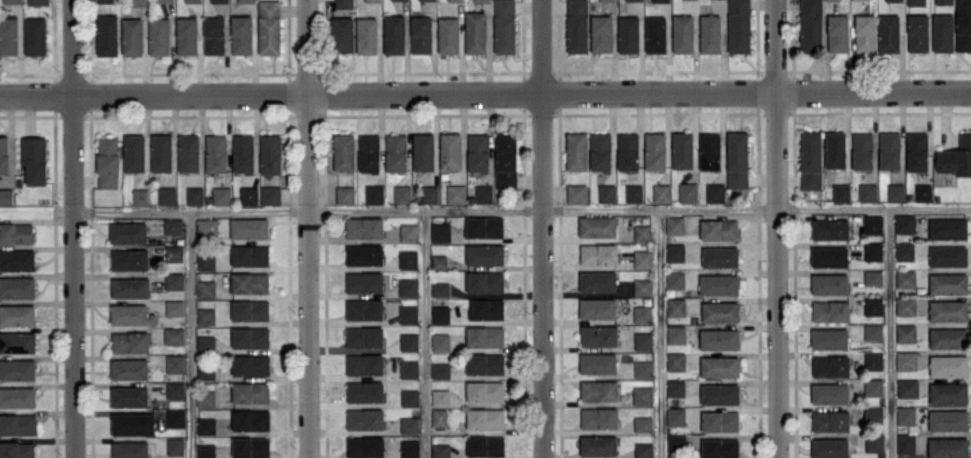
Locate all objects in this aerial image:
building: (105, 0)
building: (246, 0)
building: (373, 0)
building: (431, 0)
building: (455, 0)
building: (482, 0)
building: (607, 0)
building: (630, 0)
building: (661, 0)
building: (893, 0)
building: (12, 1)
building: (164, 1)
building: (192, 1)
building: (219, 1)
building: (943, 1)
building: (37, 2)
building: (138, 2)
building: (916, 2)
building: (344, 3)
building: (739, 25)
building: (811, 25)
building: (963, 25)
building: (504, 26)
building: (577, 26)
building: (269, 27)
building: (475, 32)
building: (683, 32)
building: (865, 32)
building: (888, 32)
building: (917, 32)
building: (943, 32)
building: (601, 33)
building: (710, 33)
building: (838, 33)
building: (107, 34)
building: (241, 34)
building: (342, 34)
building: (394, 34)
building: (421, 34)
building: (628, 34)
building: (656, 34)
building: (35, 35)
building: (187, 35)
building: (214, 35)
building: (367, 35)
building: (448, 35)
building: (8, 36)
building: (132, 36)
building: (159, 36)
road: (485, 96)
building: (682, 149)
building: (835, 149)
building: (450, 150)
building: (577, 150)
building: (710, 150)
building: (862, 150)
building: (889, 150)
building: (344, 151)
building: (423, 151)
building: (478, 151)
building: (600, 151)
building: (628, 151)
building: (655, 151)
building: (917, 151)
building: (134, 152)
building: (161, 152)
building: (188, 152)
building: (243, 152)
building: (369, 152)
building: (396, 152)
building: (4, 153)
building: (216, 153)
building: (270, 154)
building: (956, 157)
building: (34, 159)
building: (737, 159)
building: (506, 160)
building: (811, 160)
building: (107, 162)
building: (923, 191)
building: (576, 192)
building: (607, 192)
building: (661, 192)
building: (688, 192)
building: (715, 192)
building: (841, 192)
building: (867, 192)
building: (895, 192)
building: (374, 193)
building: (456, 193)
building: (483, 193)
building: (634, 193)
building: (270, 194)
building: (345, 194)
building: (402, 194)
building: (429, 194)
building: (167, 195)
building: (194, 195)
building: (221, 195)
building: (248, 195)
building: (6, 196)
building: (140, 196)
road: (521, 211)
building: (873, 223)
building: (905, 223)
building: (675, 224)
building: (173, 225)
building: (207, 226)
building: (597, 226)
building: (249, 227)
building: (364, 227)
building: (484, 227)
road: (542, 228)
road: (778, 228)
building: (830, 228)
building: (948, 228)
road: (72, 229)
road: (306, 229)
building: (719, 229)
building: (440, 231)
building: (128, 232)
building: (409, 232)
building: (643, 232)
building: (16, 233)
building: (873, 250)
building: (904, 250)
building: (675, 252)
building: (174, 253)
building: (599, 253)
building: (364, 254)
building: (485, 254)
building: (250, 255)
building: (948, 255)
building: (829, 256)
building: (720, 257)
building: (17, 259)
building: (130, 259)
building: (408, 259)
building: (643, 259)
building: (205, 260)
building: (439, 261)
building: (873, 277)
building: (905, 278)
building: (675, 279)
building: (174, 280)
building: (364, 281)
building: (485, 281)
building: (598, 281)
building: (250, 282)
building: (829, 283)
building: (948, 283)
building: (719, 284)
building: (408, 286)
building: (643, 286)
building: (17, 287)
building: (130, 287)
building: (206, 288)
building: (440, 288)
building: (873, 305)
building: (905, 305)
building: (676, 306)
building: (174, 307)
building: (487, 308)
building: (598, 308)
building: (364, 309)
building: (250, 310)
building: (830, 310)
building: (948, 310)
building: (720, 311)
building: (643, 313)
building: (17, 314)
building: (132, 314)
building: (408, 314)
building: (440, 314)
building: (206, 316)
building: (873, 331)
building: (906, 332)
road: (889, 333)
road: (658, 334)
building: (676, 334)
building: (174, 335)
road: (426, 335)
building: (599, 335)
road: (190, 336)
building: (364, 336)
building: (485, 336)
building: (250, 337)
building: (947, 337)
building: (719, 338)
building: (829, 338)
building: (643, 340)
building: (17, 341)
building: (130, 341)
building: (409, 341)
building: (440, 341)
building: (206, 344)
building: (873, 360)
building: (906, 360)
building: (676, 361)
building: (598, 362)
building: (175, 363)
building: (485, 363)
building: (250, 364)
building: (364, 364)
building: (830, 365)
building: (948, 365)
building: (720, 366)
building: (129, 368)
building: (205, 368)
building: (409, 368)
building: (643, 368)
building: (17, 369)
building: (440, 370)
building: (873, 387)
building: (907, 387)
building: (676, 388)
building: (175, 390)
building: (485, 390)
building: (599, 390)
building: (365, 391)
building: (250, 392)
building: (948, 392)
building: (720, 393)
building: (830, 393)
building: (643, 395)
building: (129, 396)
building: (17, 397)
building: (410, 397)
building: (441, 397)
building: (206, 398)
building: (873, 414)
building: (676, 415)
building: (905, 415)
building: (175, 417)
building: (440, 417)
building: (599, 417)
building: (365, 418)
building: (485, 418)
building: (251, 419)
building: (720, 420)
building: (830, 420)
building: (948, 420)
building: (132, 423)
building: (643, 423)
building: (17, 424)
building: (409, 424)
building: (206, 425)
building: (874, 442)
building: (677, 443)
building: (906, 443)
building: (598, 444)
building: (485, 445)
building: (175, 446)
building: (251, 446)
building: (365, 446)
building: (829, 447)
building: (948, 447)
building: (410, 448)
building: (720, 448)
building: (17, 449)
building: (130, 449)
building: (643, 449)
building: (206, 450)
building: (441, 450)

